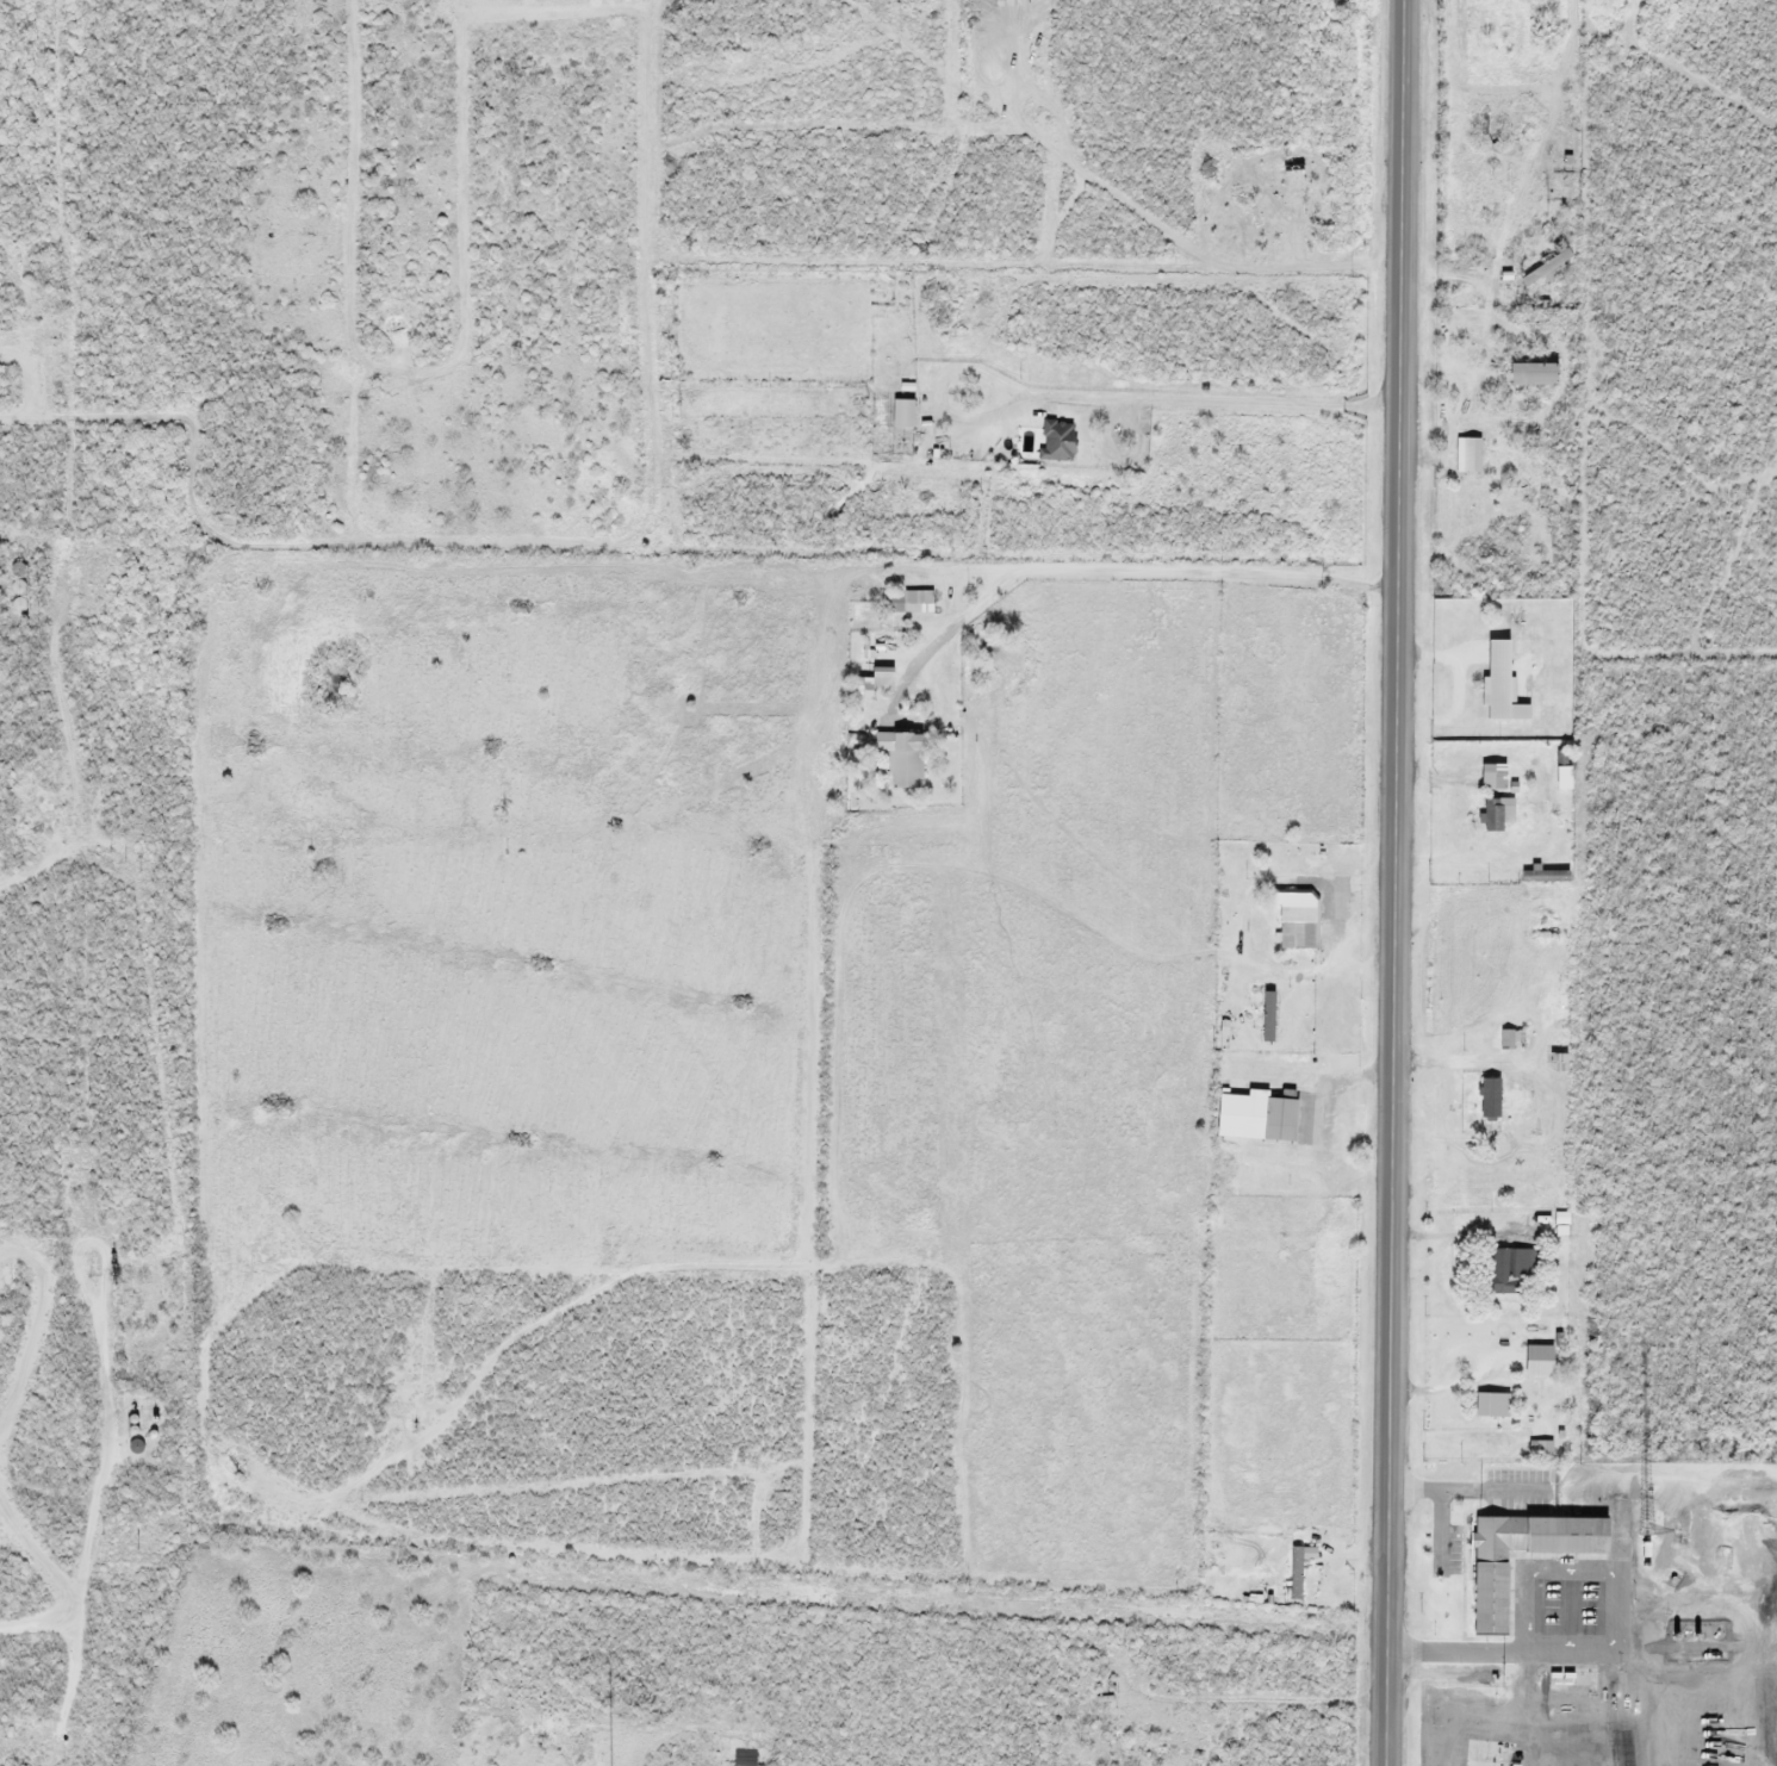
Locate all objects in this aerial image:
building: (1543, 263)
building: (1528, 374)
building: (900, 413)
building: (1055, 441)
building: (1470, 455)
building: (908, 602)
building: (1502, 684)
building: (862, 688)
building: (900, 757)
building: (1491, 777)
building: (1493, 814)
road: (1393, 883)
building: (1294, 918)
building: (1510, 1040)
building: (1553, 1063)
building: (1487, 1100)
building: (1254, 1117)
building: (1520, 1266)
building: (1536, 1361)
building: (1490, 1405)
building: (1486, 1594)

